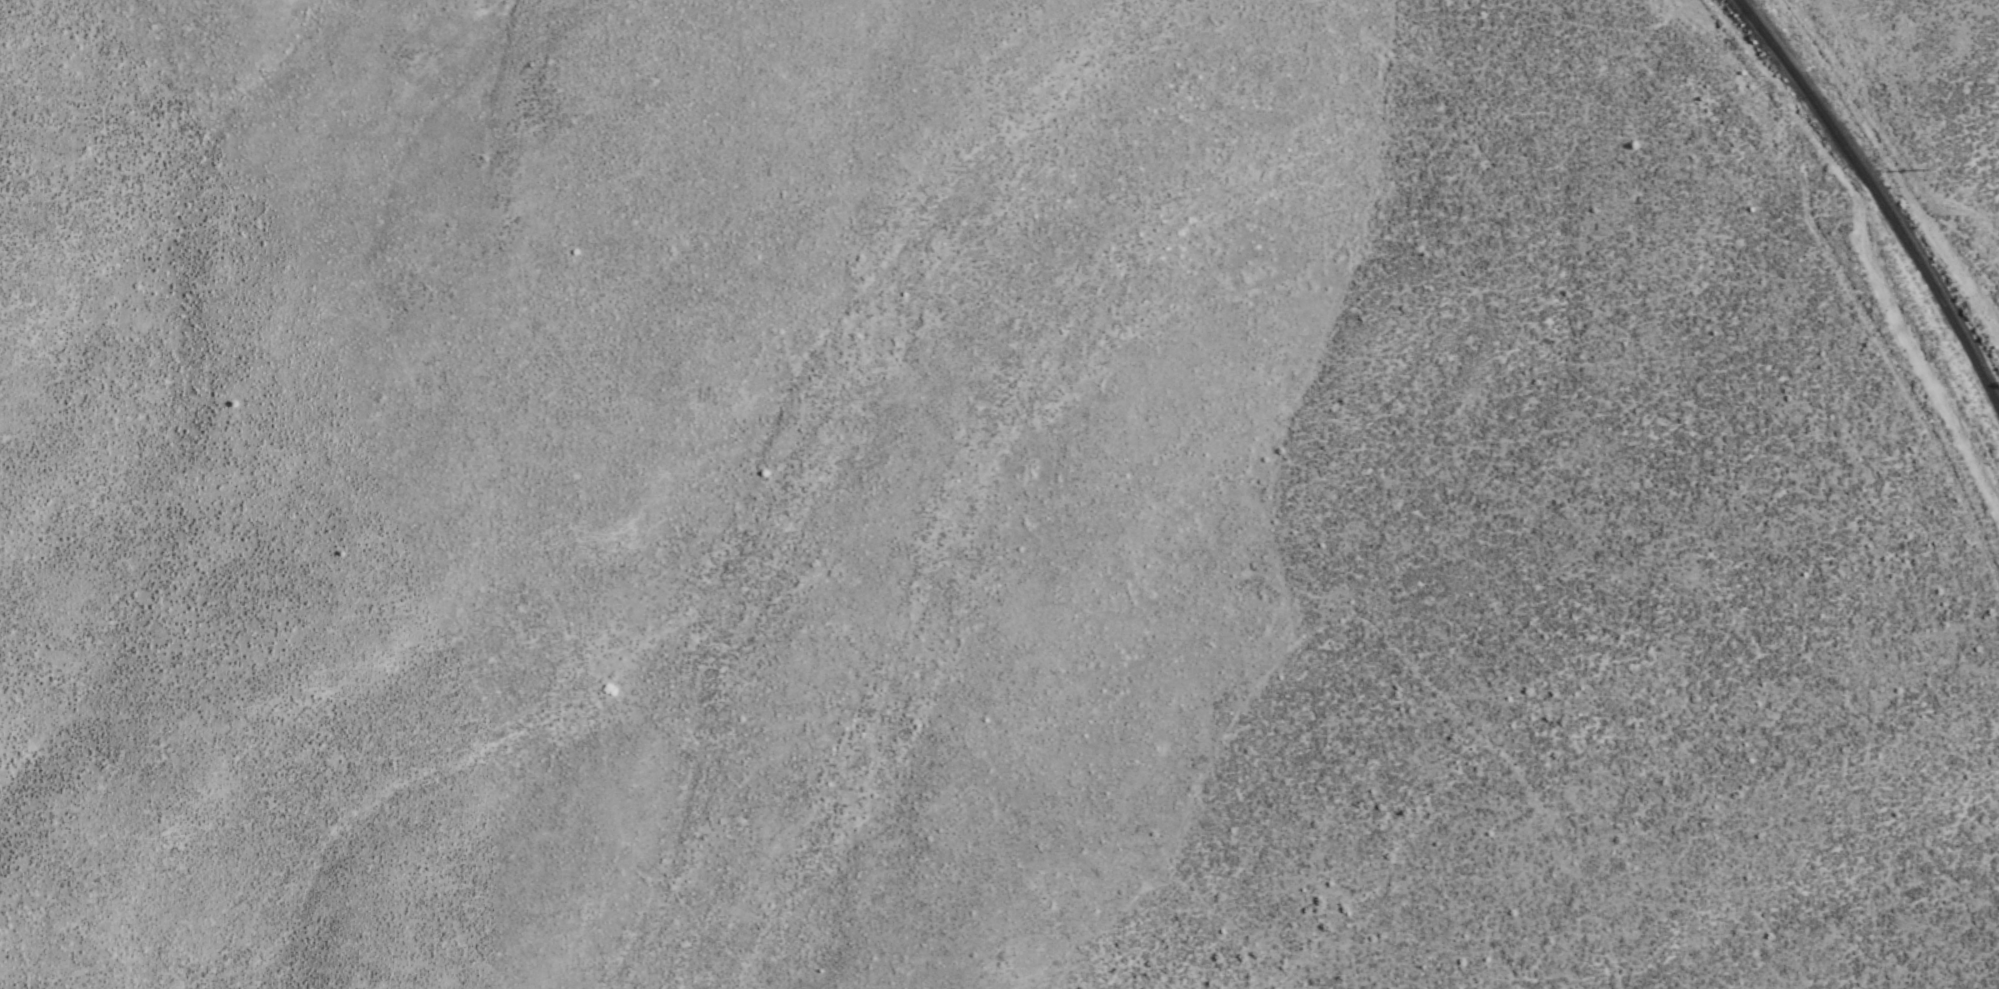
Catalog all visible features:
railway: (1877, 199)

